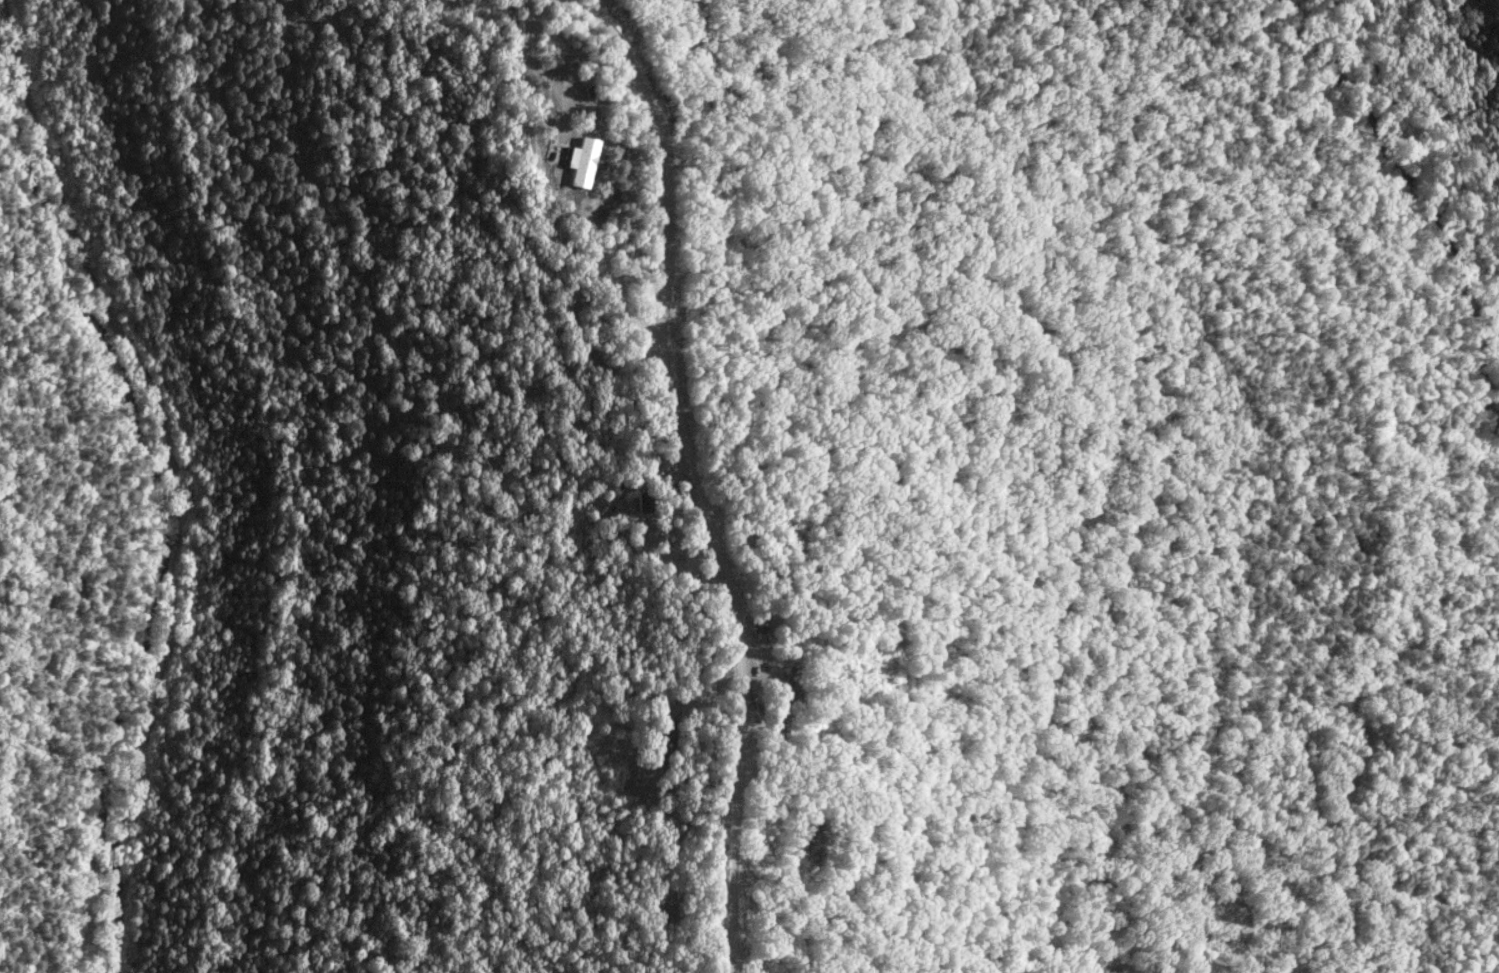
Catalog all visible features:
building: (582, 161)
road: (693, 473)

